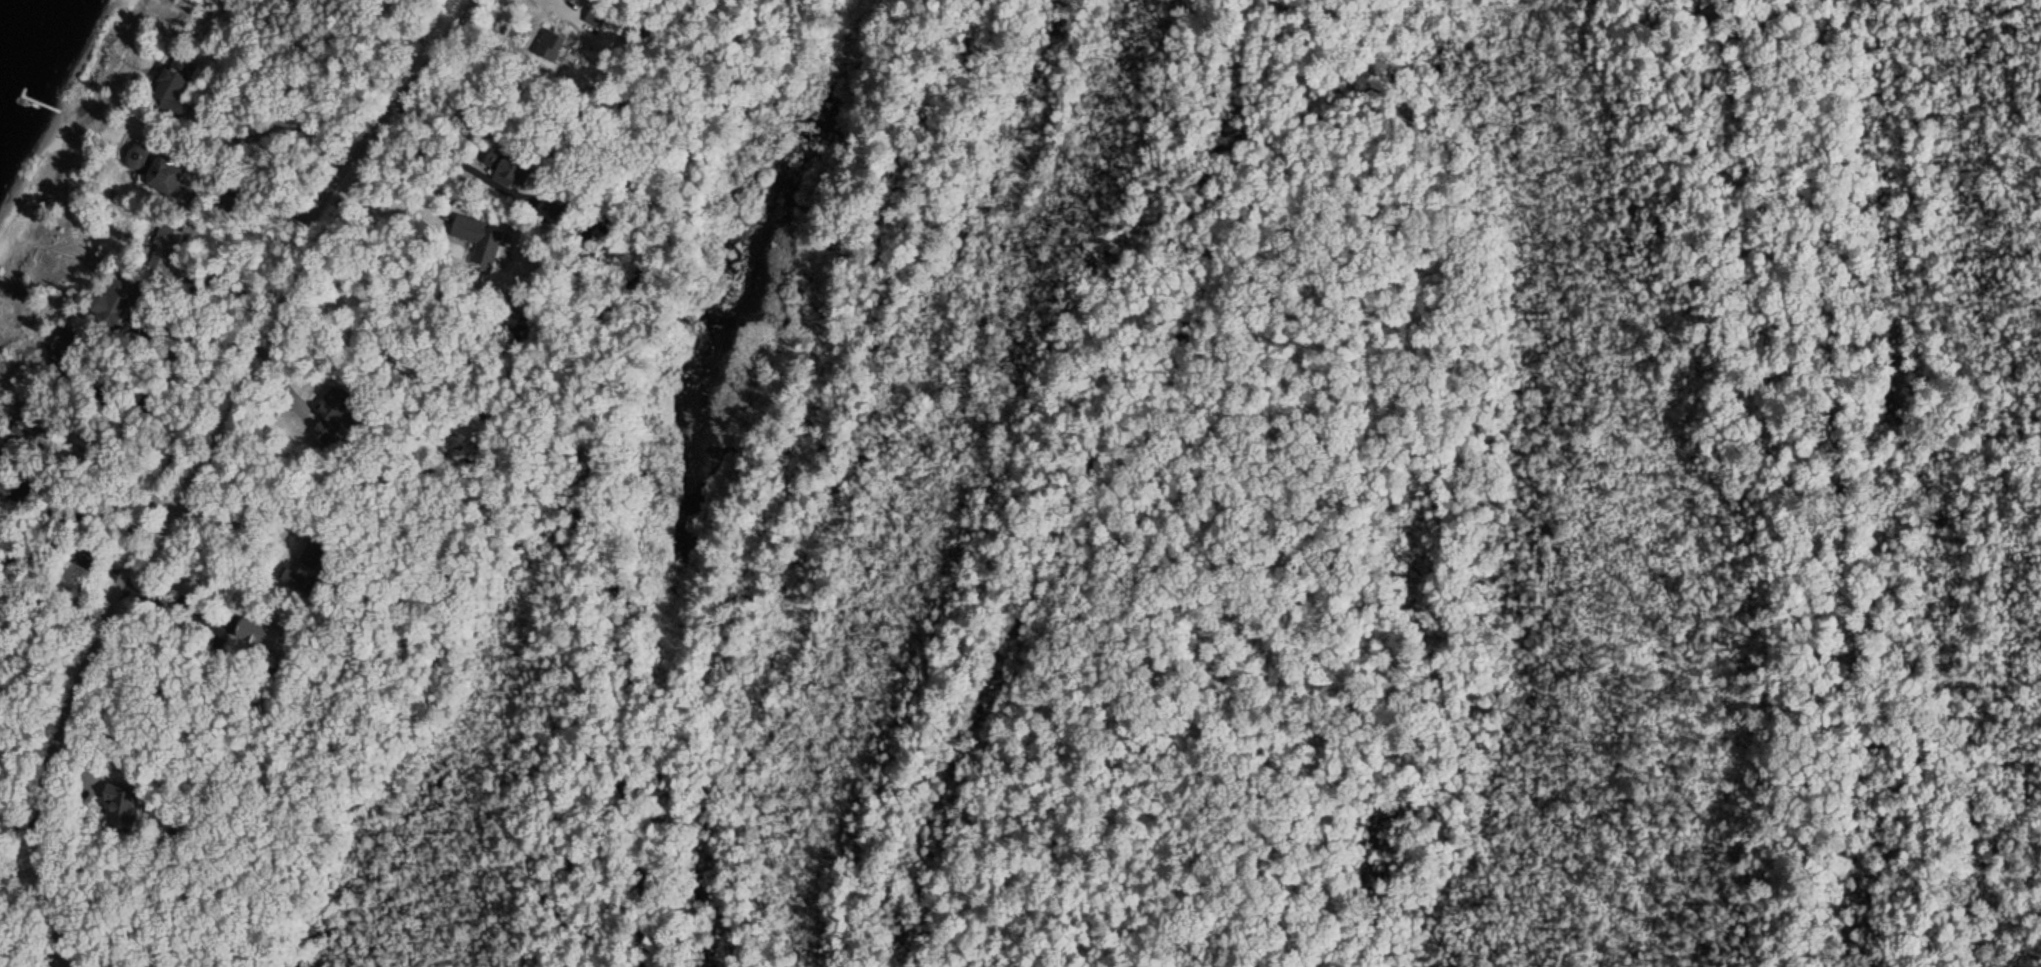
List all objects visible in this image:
building: (555, 45)
building: (179, 87)
building: (514, 169)
building: (171, 174)
building: (482, 241)
building: (163, 247)
building: (117, 299)
building: (70, 351)
building: (330, 414)
building: (28, 425)
road: (181, 452)
building: (303, 563)
building: (254, 632)
building: (124, 805)

